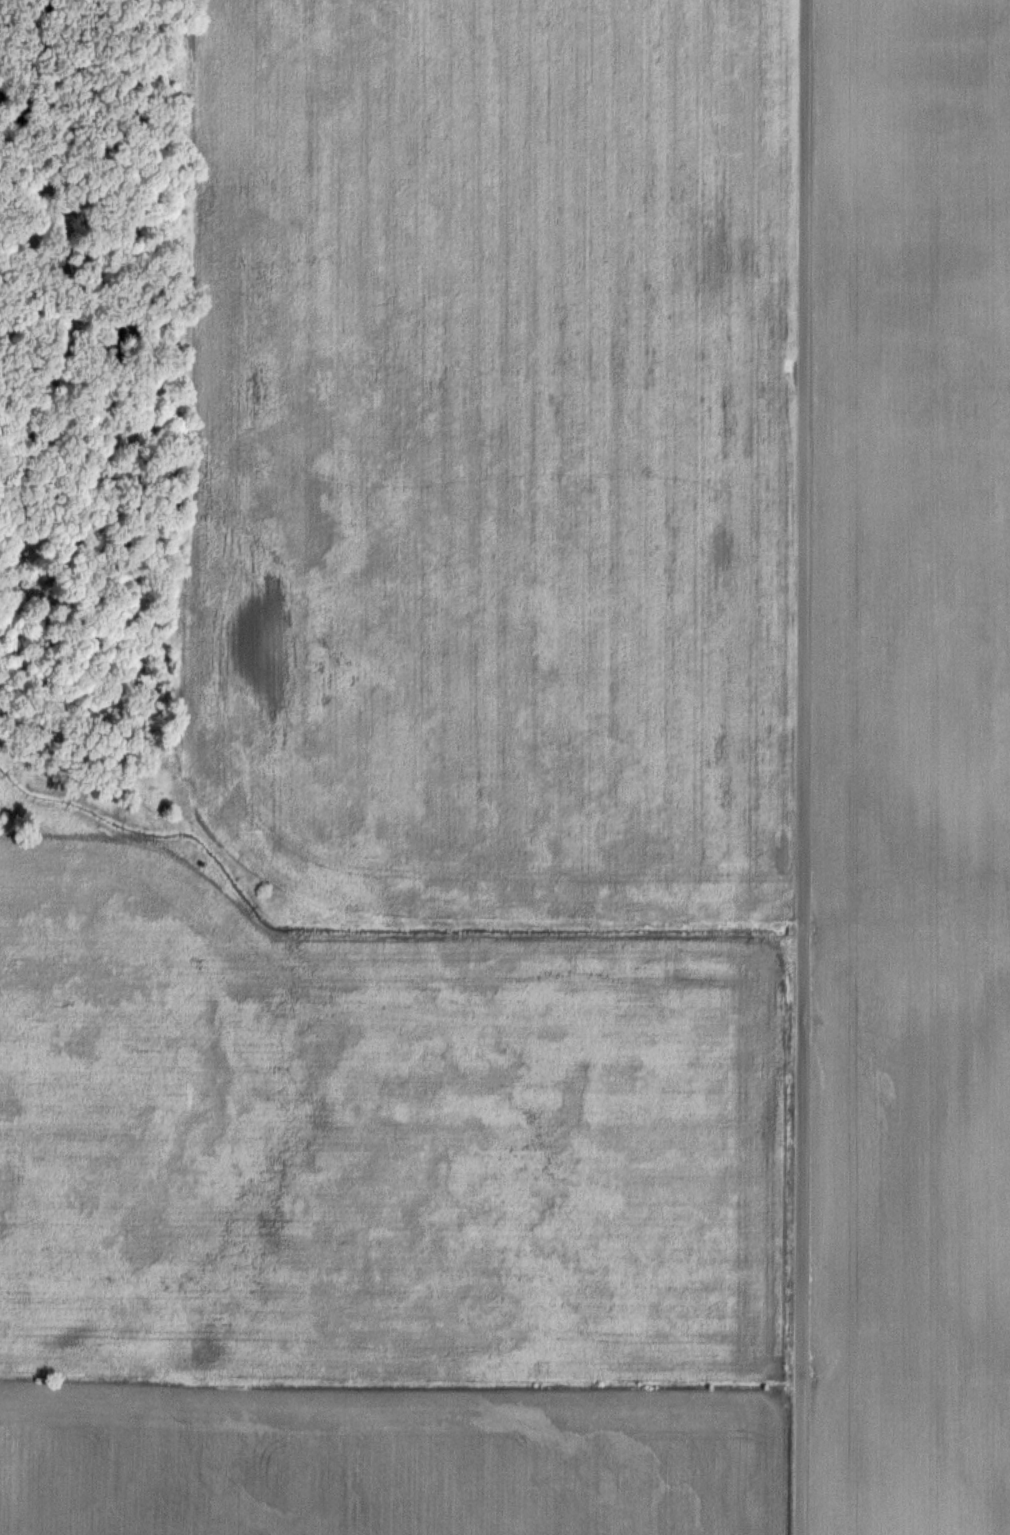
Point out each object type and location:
road: (804, 767)

